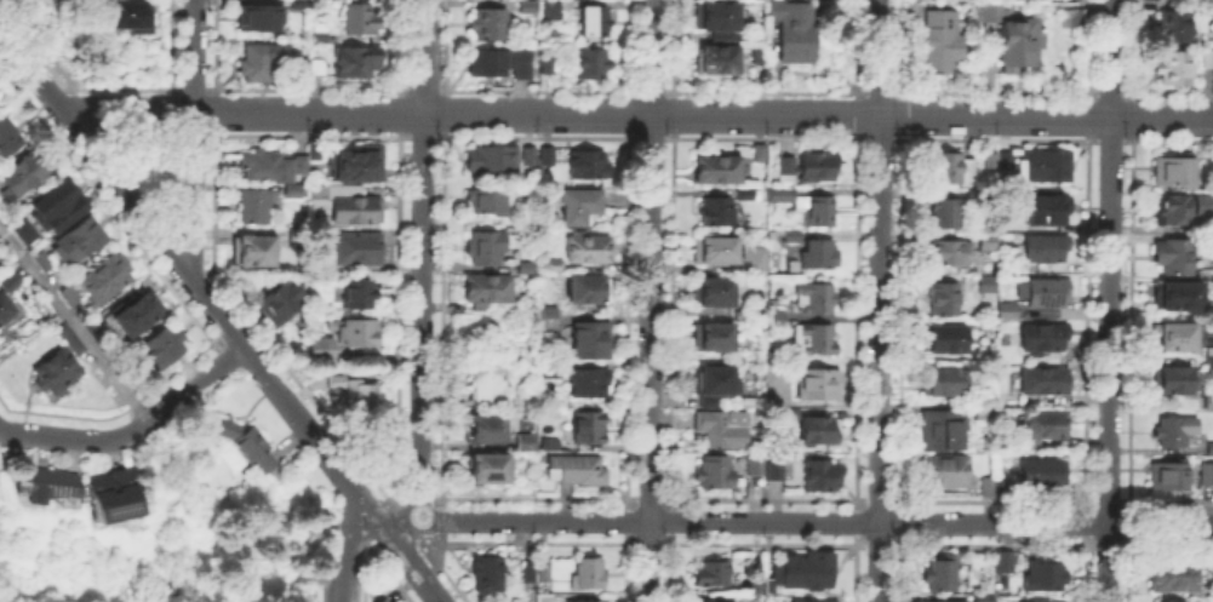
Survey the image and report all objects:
building: (1030, 0)
building: (292, 1)
building: (303, 5)
building: (1208, 5)
building: (530, 8)
building: (551, 11)
building: (1066, 12)
building: (131, 17)
building: (716, 17)
building: (262, 18)
building: (362, 19)
building: (1169, 21)
building: (595, 22)
building: (491, 24)
building: (796, 30)
building: (320, 33)
building: (1012, 36)
building: (942, 42)
road: (170, 44)
road: (629, 45)
road: (673, 45)
road: (857, 45)
road: (1087, 45)
building: (1205, 53)
road: (193, 55)
building: (762, 56)
building: (357, 61)
building: (719, 61)
building: (257, 63)
building: (593, 63)
building: (503, 64)
building: (1168, 64)
building: (548, 65)
road: (30, 67)
building: (311, 68)
road: (68, 82)
road: (208, 86)
road: (305, 86)
road: (191, 87)
road: (420, 87)
road: (492, 87)
road: (1131, 87)
road: (173, 88)
road: (950, 88)
road: (651, 90)
road: (765, 90)
road: (53, 98)
road: (127, 107)
road: (213, 110)
road: (397, 111)
road: (444, 111)
road: (629, 113)
road: (307, 114)
road: (857, 114)
road: (817, 115)
road: (420, 136)
building: (8, 138)
road: (881, 138)
road: (1109, 139)
building: (1211, 149)
building: (760, 153)
building: (530, 157)
building: (548, 157)
building: (492, 161)
building: (999, 162)
building: (361, 164)
building: (589, 165)
building: (1045, 166)
building: (818, 167)
building: (1167, 167)
building: (269, 168)
building: (952, 170)
building: (717, 171)
building: (788, 171)
building: (27, 173)
road: (126, 191)
building: (294, 191)
road: (191, 193)
building: (745, 194)
road: (105, 202)
building: (490, 202)
building: (55, 205)
road: (213, 205)
building: (348, 205)
building: (256, 206)
building: (808, 206)
building: (1173, 206)
building: (580, 207)
building: (717, 211)
building: (1046, 211)
building: (946, 214)
building: (1208, 219)
road: (397, 224)
road: (442, 224)
road: (857, 225)
building: (22, 229)
building: (794, 237)
building: (80, 241)
building: (985, 242)
building: (487, 248)
building: (589, 248)
building: (1041, 248)
building: (0, 250)
building: (356, 250)
building: (716, 251)
building: (1168, 251)
building: (254, 252)
building: (951, 252)
building: (820, 254)
building: (42, 260)
road: (422, 260)
building: (756, 260)
building: (555, 266)
building: (527, 268)
building: (107, 279)
road: (1129, 279)
building: (11, 283)
building: (989, 285)
building: (587, 289)
building: (487, 291)
building: (714, 292)
building: (360, 293)
building: (1169, 293)
building: (1047, 294)
building: (70, 296)
building: (816, 298)
building: (945, 299)
road: (651, 300)
road: (880, 300)
road: (1109, 300)
building: (280, 302)
building: (4, 309)
road: (218, 311)
building: (1008, 313)
building: (138, 314)
road: (626, 317)
road: (671, 317)
building: (547, 319)
building: (777, 319)
road: (74, 323)
building: (97, 331)
building: (356, 332)
building: (1171, 332)
building: (1041, 334)
building: (69, 338)
building: (714, 338)
building: (816, 339)
building: (945, 339)
building: (593, 340)
building: (162, 348)
building: (320, 350)
building: (1208, 352)
building: (776, 371)
building: (56, 372)
building: (551, 373)
building: (1165, 375)
building: (337, 379)
building: (1041, 382)
building: (944, 383)
building: (589, 384)
building: (715, 384)
building: (820, 384)
road: (301, 386)
building: (490, 386)
building: (361, 395)
building: (1207, 399)
road: (114, 411)
building: (790, 411)
building: (984, 412)
building: (589, 428)
building: (1043, 428)
road: (133, 429)
building: (488, 429)
building: (723, 429)
building: (1163, 429)
building: (819, 430)
building: (944, 431)
building: (547, 441)
building: (527, 443)
building: (1208, 443)
building: (248, 445)
road: (319, 445)
building: (756, 465)
building: (490, 469)
building: (1205, 469)
building: (577, 470)
building: (776, 471)
building: (946, 471)
building: (716, 472)
building: (1162, 472)
building: (1043, 474)
building: (823, 476)
building: (41, 483)
building: (984, 485)
building: (997, 485)
building: (115, 495)
road: (394, 497)
road: (420, 497)
road: (533, 498)
road: (626, 498)
road: (900, 498)
road: (763, 499)
road: (856, 499)
road: (1106, 499)
road: (1171, 500)
road: (671, 503)
road: (1128, 512)
road: (440, 518)
road: (670, 520)
road: (900, 521)
road: (1083, 521)
road: (816, 522)
road: (371, 531)
road: (406, 531)
road: (1128, 534)
road: (669, 537)
road: (527, 541)
road: (647, 541)
road: (762, 543)
road: (877, 544)
road: (991, 544)
road: (1105, 544)
road: (1171, 544)
road: (347, 550)
building: (1005, 562)
building: (1168, 568)
road: (359, 569)
road: (387, 571)
road: (416, 571)
building: (806, 571)
road: (669, 572)
building: (530, 573)
building: (714, 573)
road: (854, 573)
road: (898, 573)
road: (1082, 573)
road: (1127, 573)
building: (545, 574)
building: (589, 574)
building: (943, 574)
building: (488, 575)
building: (756, 577)
building: (1045, 577)
park: (225, 583)
building: (382, 598)
building: (812, 600)
building: (936, 600)
building: (985, 600)
building: (1166, 600)
building: (583, 601)
building: (713, 601)
building: (1024, 601)

